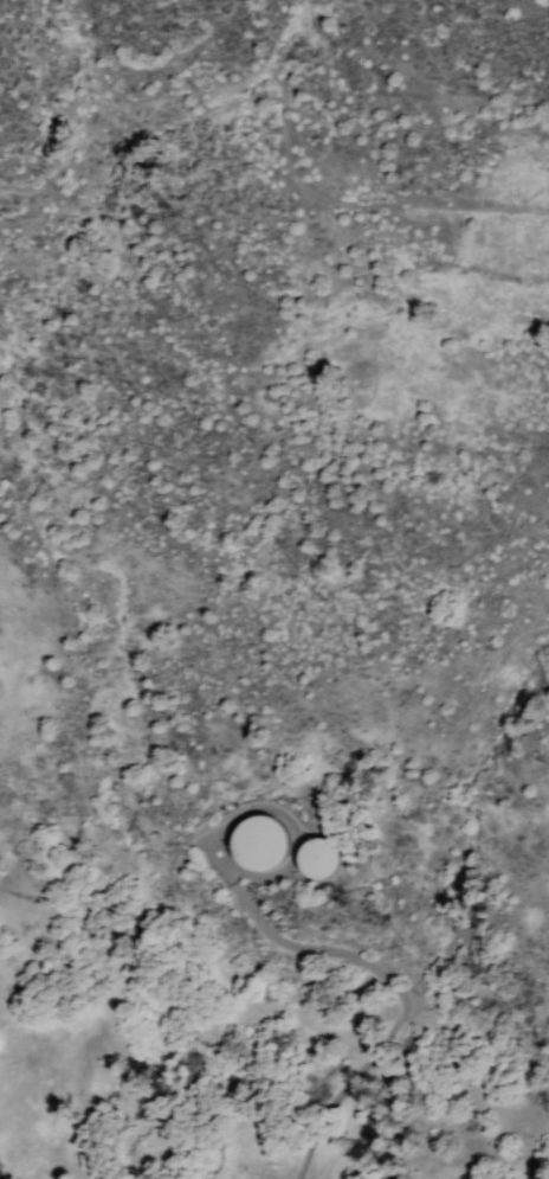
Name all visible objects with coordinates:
building: (257, 841)
building: (314, 857)
road: (400, 995)

